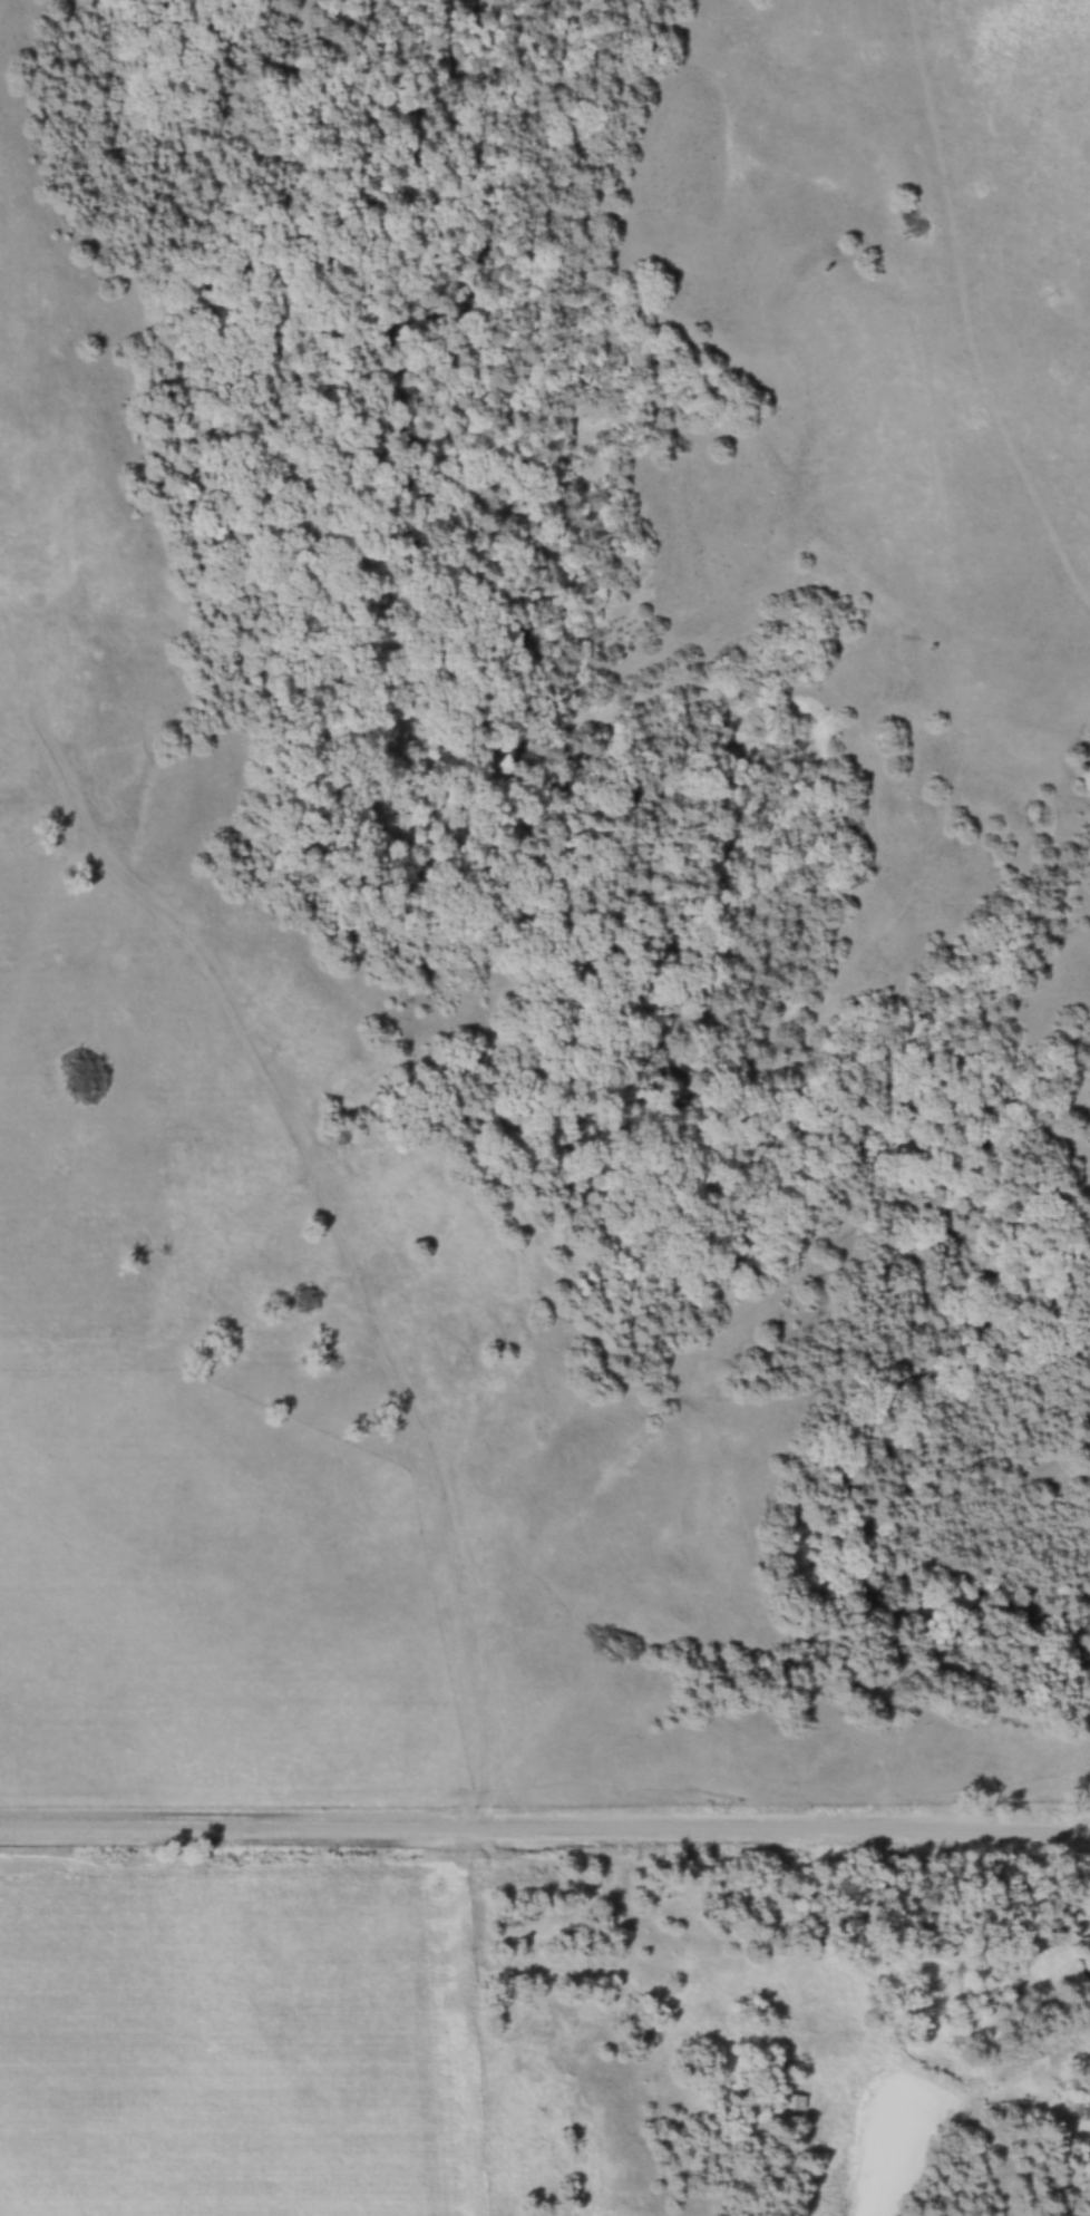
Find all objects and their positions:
road: (545, 1835)
building: (794, 2102)

